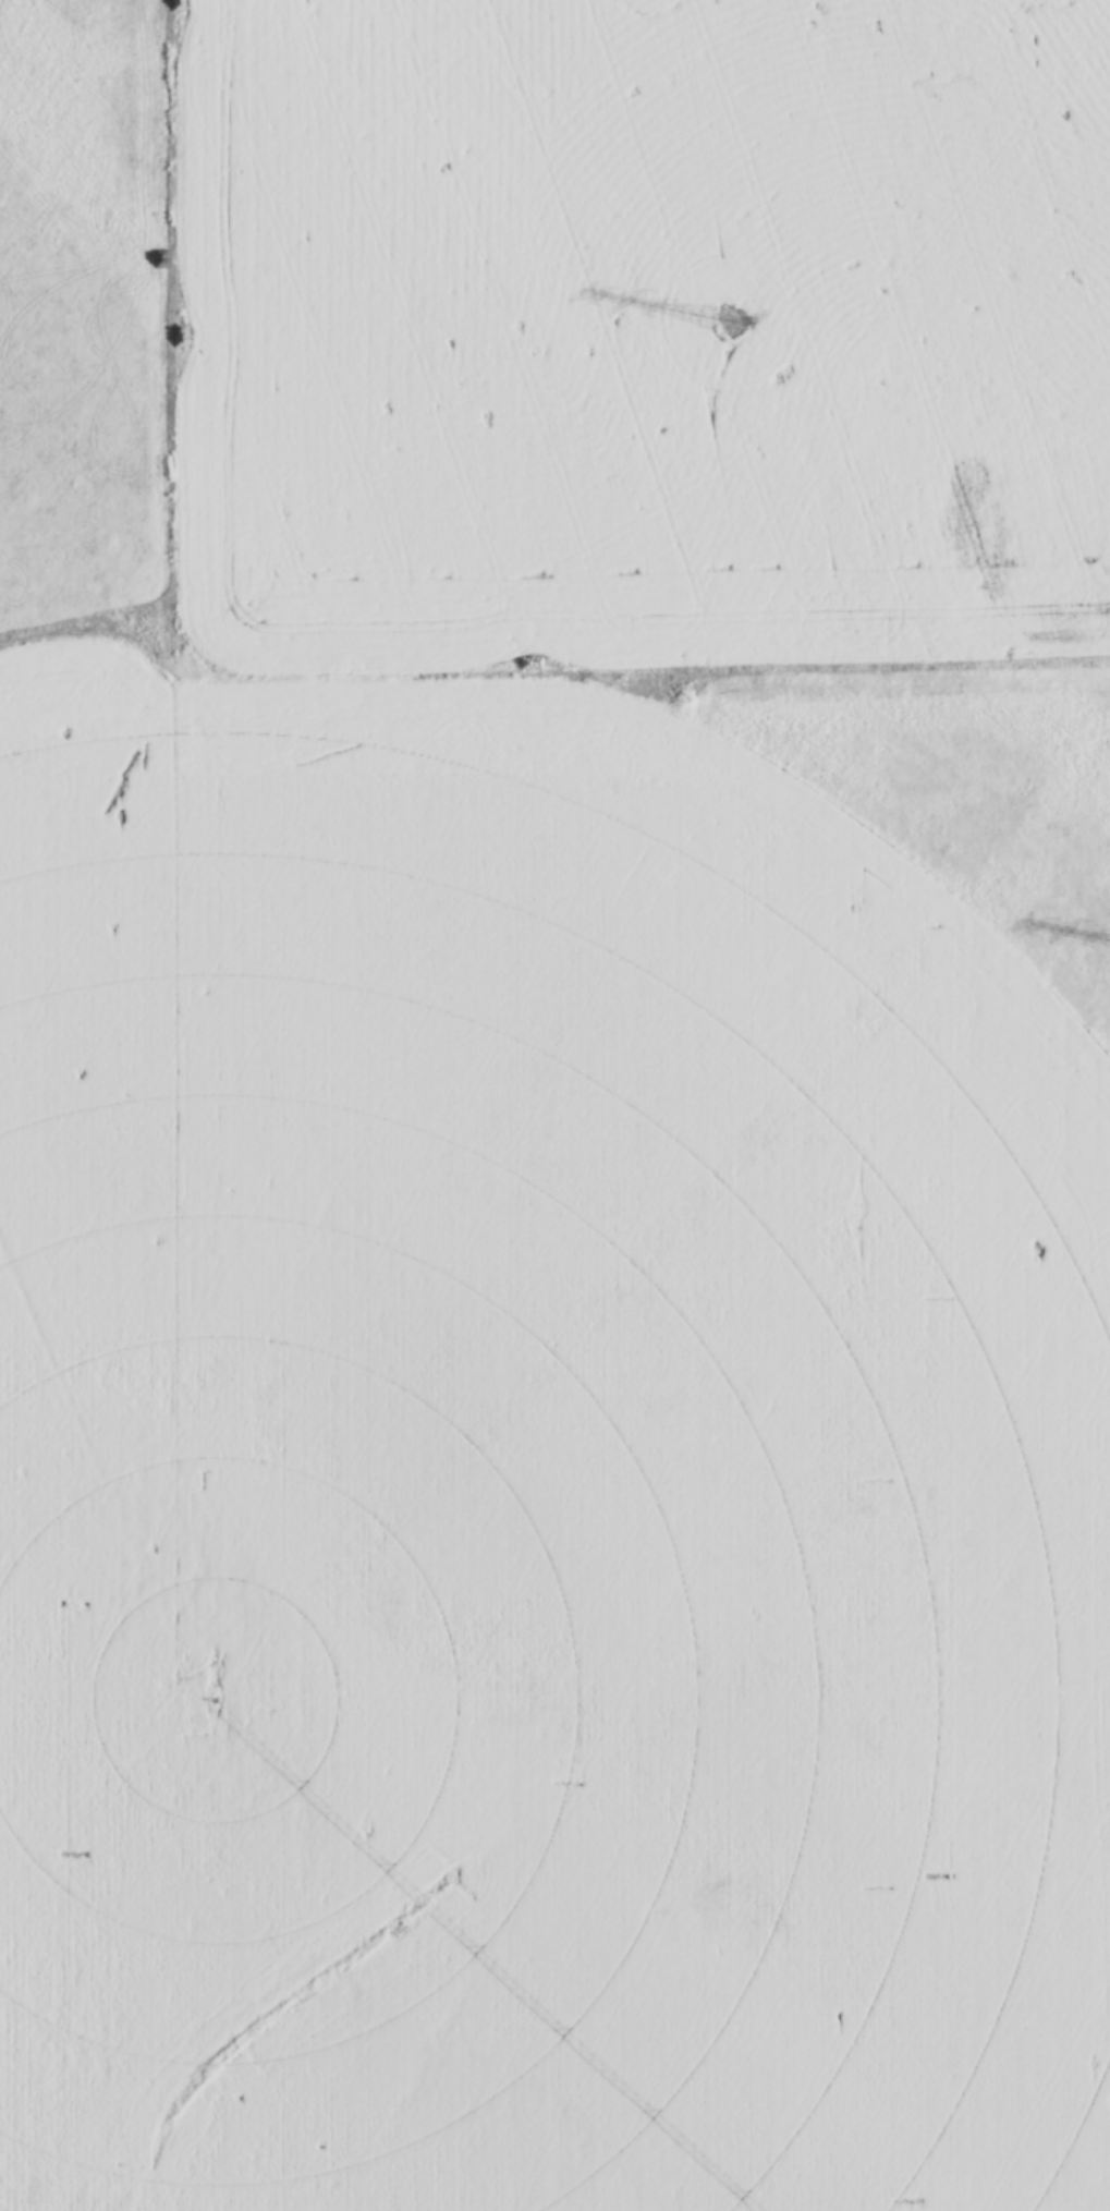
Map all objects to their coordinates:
power tower: (724, 323)

